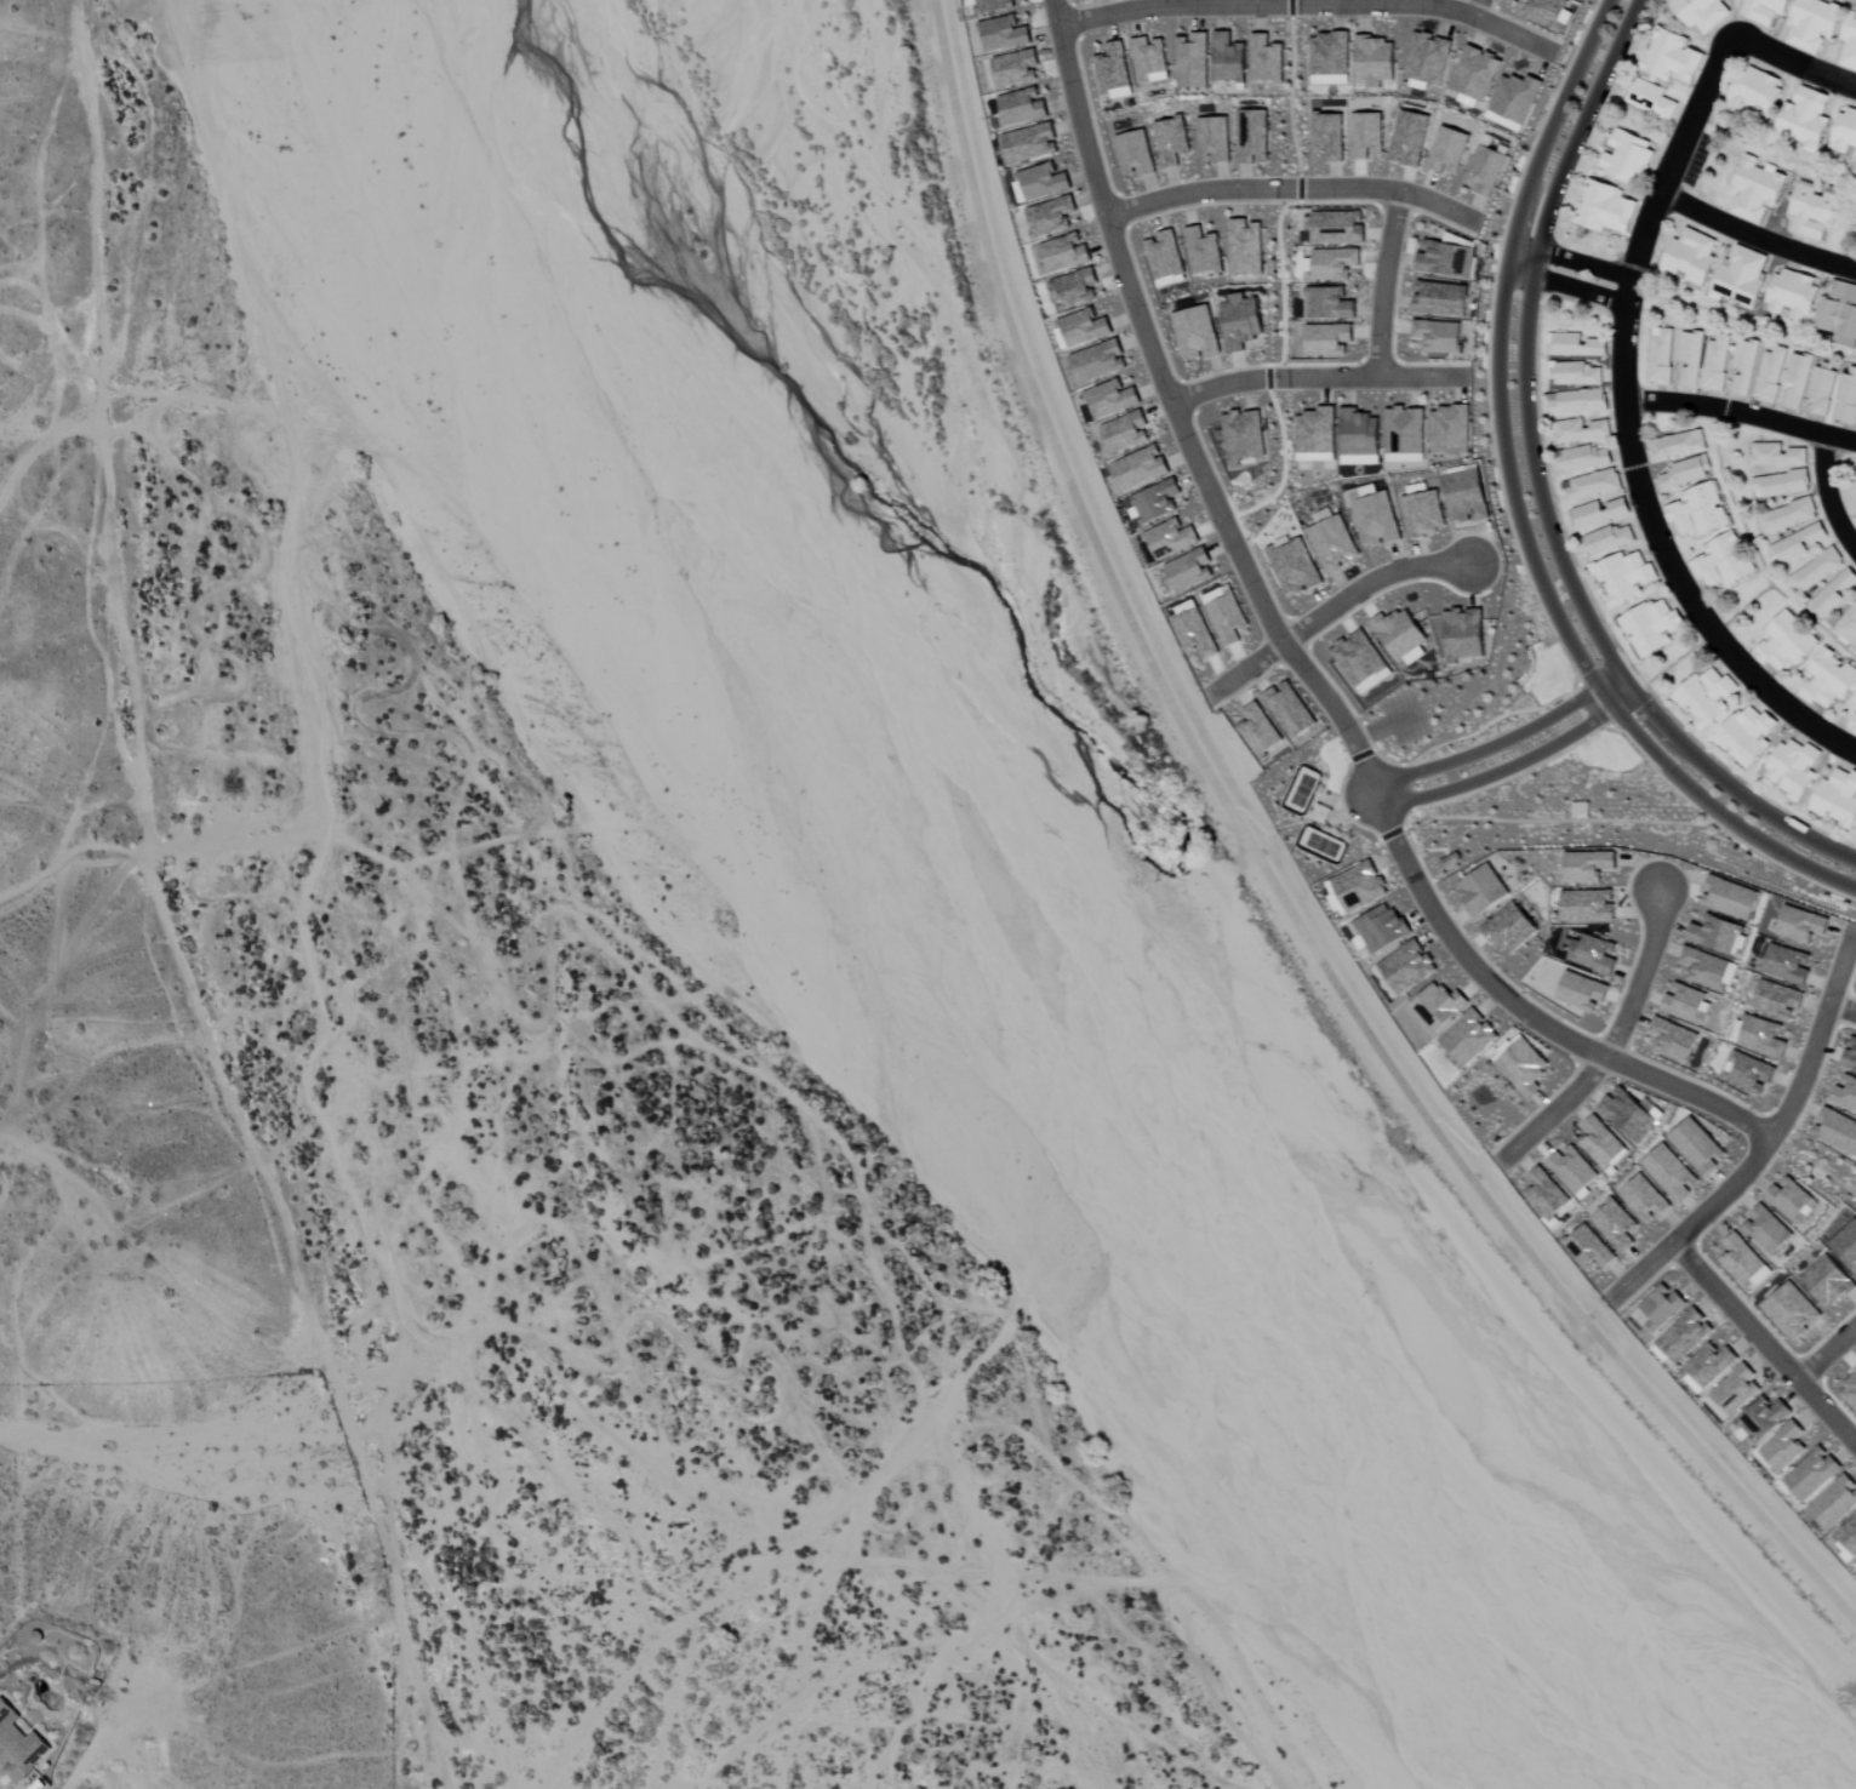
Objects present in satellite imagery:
road: (1304, 2)
building: (992, 5)
building: (1765, 10)
road: (1483, 11)
building: (1546, 11)
building: (1703, 13)
building: (1814, 23)
building: (1004, 33)
building: (1850, 44)
building: (1330, 55)
building: (1673, 57)
building: (1228, 58)
building: (1266, 58)
building: (1427, 58)
building: (1149, 59)
building: (1193, 61)
building: (1375, 61)
road: (1793, 63)
building: (1016, 68)
building: (1114, 70)
building: (1475, 73)
building: (1755, 91)
building: (1515, 97)
building: (1652, 99)
building: (1022, 107)
building: (1806, 115)
building: (1845, 133)
building: (1329, 135)
building: (1366, 135)
building: (1252, 136)
building: (1213, 138)
building: (1410, 138)
building: (1171, 141)
building: (1030, 143)
building: (1447, 150)
building: (1135, 153)
building: (1627, 156)
building: (1485, 170)
building: (1044, 181)
road: (1287, 187)
building: (1757, 189)
building: (1605, 207)
building: (1816, 210)
building: (1051, 216)
building: (1338, 225)
road: (1754, 236)
building: (1246, 247)
building: (1204, 251)
building: (1064, 252)
building: (1691, 257)
building: (1165, 258)
building: (1446, 258)
road: (1574, 258)
building: (1334, 263)
building: (1741, 279)
road: (1384, 284)
building: (1074, 287)
road: (1567, 287)
building: (1792, 295)
building: (1441, 297)
building: (1330, 303)
building: (1838, 320)
building: (1241, 321)
building: (1084, 327)
road: (1131, 332)
building: (1197, 332)
building: (1439, 336)
building: (1327, 339)
building: (1577, 345)
building: (1661, 356)
building: (1691, 358)
building: (1098, 361)
building: (1717, 362)
building: (1744, 365)
building: (1574, 373)
building: (1771, 375)
road: (1312, 379)
building: (1797, 381)
building: (1822, 387)
building: (1846, 398)
building: (1112, 399)
building: (1580, 401)
road: (1741, 412)
building: (1450, 427)
building: (1581, 430)
building: (1315, 431)
building: (1404, 431)
road: (1628, 431)
building: (1126, 433)
building: (1244, 435)
building: (1359, 436)
building: (1677, 445)
building: (1777, 455)
building: (1584, 458)
building: (1140, 468)
building: (1686, 473)
building: (1781, 484)
building: (1593, 485)
road: (1538, 487)
road: (1827, 492)
building: (1467, 496)
building: (1157, 501)
building: (1855, 503)
road: (1517, 509)
building: (1697, 511)
building: (1424, 513)
building: (1600, 513)
building: (1787, 516)
building: (1376, 519)
building: (1170, 538)
building: (1607, 539)
building: (1800, 542)
building: (1334, 544)
building: (1723, 561)
building: (1295, 567)
building: (1189, 570)
building: (1816, 571)
building: (1624, 577)
building: (1834, 593)
road: (1337, 608)
building: (1228, 618)
building: (1848, 625)
building: (1652, 627)
building: (1194, 634)
building: (1463, 635)
building: (1401, 636)
building: (1784, 644)
building: (1359, 658)
building: (1828, 680)
building: (1706, 697)
building: (1855, 707)
building: (1289, 709)
building: (1854, 724)
building: (1258, 730)
building: (1747, 736)
road: (1489, 747)
building: (1793, 768)
road: (1501, 770)
building: (1838, 799)
road: (1304, 818)
building: (1587, 867)
road: (1269, 880)
building: (1359, 887)
building: (1483, 891)
building: (1730, 898)
building: (1588, 907)
road: (171, 911)
building: (1801, 925)
building: (1381, 928)
building: (1511, 928)
building: (1719, 936)
river: (1012, 951)
building: (1594, 955)
road: (1458, 958)
building: (1788, 965)
building: (1406, 967)
building: (1706, 968)
building: (1582, 991)
building: (1777, 1000)
building: (1686, 1004)
building: (1437, 1007)
road: (1843, 1007)
road: (1612, 1033)
building: (1468, 1038)
building: (1763, 1038)
building: (1673, 1040)
building: (1850, 1057)
building: (1524, 1067)
building: (1749, 1073)
building: (1845, 1094)
building: (1629, 1115)
building: (1837, 1131)
road: (1775, 1134)
building: (1600, 1143)
building: (1698, 1147)
building: (1572, 1171)
building: (1669, 1173)
building: (1546, 1194)
building: (1645, 1200)
building: (1792, 1201)
building: (1616, 1225)
building: (1768, 1230)
building: (1846, 1245)
building: (1588, 1250)
building: (1741, 1261)
building: (1828, 1282)
building: (1662, 1308)
building: (1793, 1311)
building: (1684, 1336)
road: (1768, 1342)
road: (1827, 1350)
building: (1709, 1365)
building: (1736, 1390)
building: (1850, 1390)
building: (1764, 1418)
building: (1783, 1447)
building: (1812, 1474)
building: (1834, 1503)
building: (1849, 1537)
building: (18, 1744)

